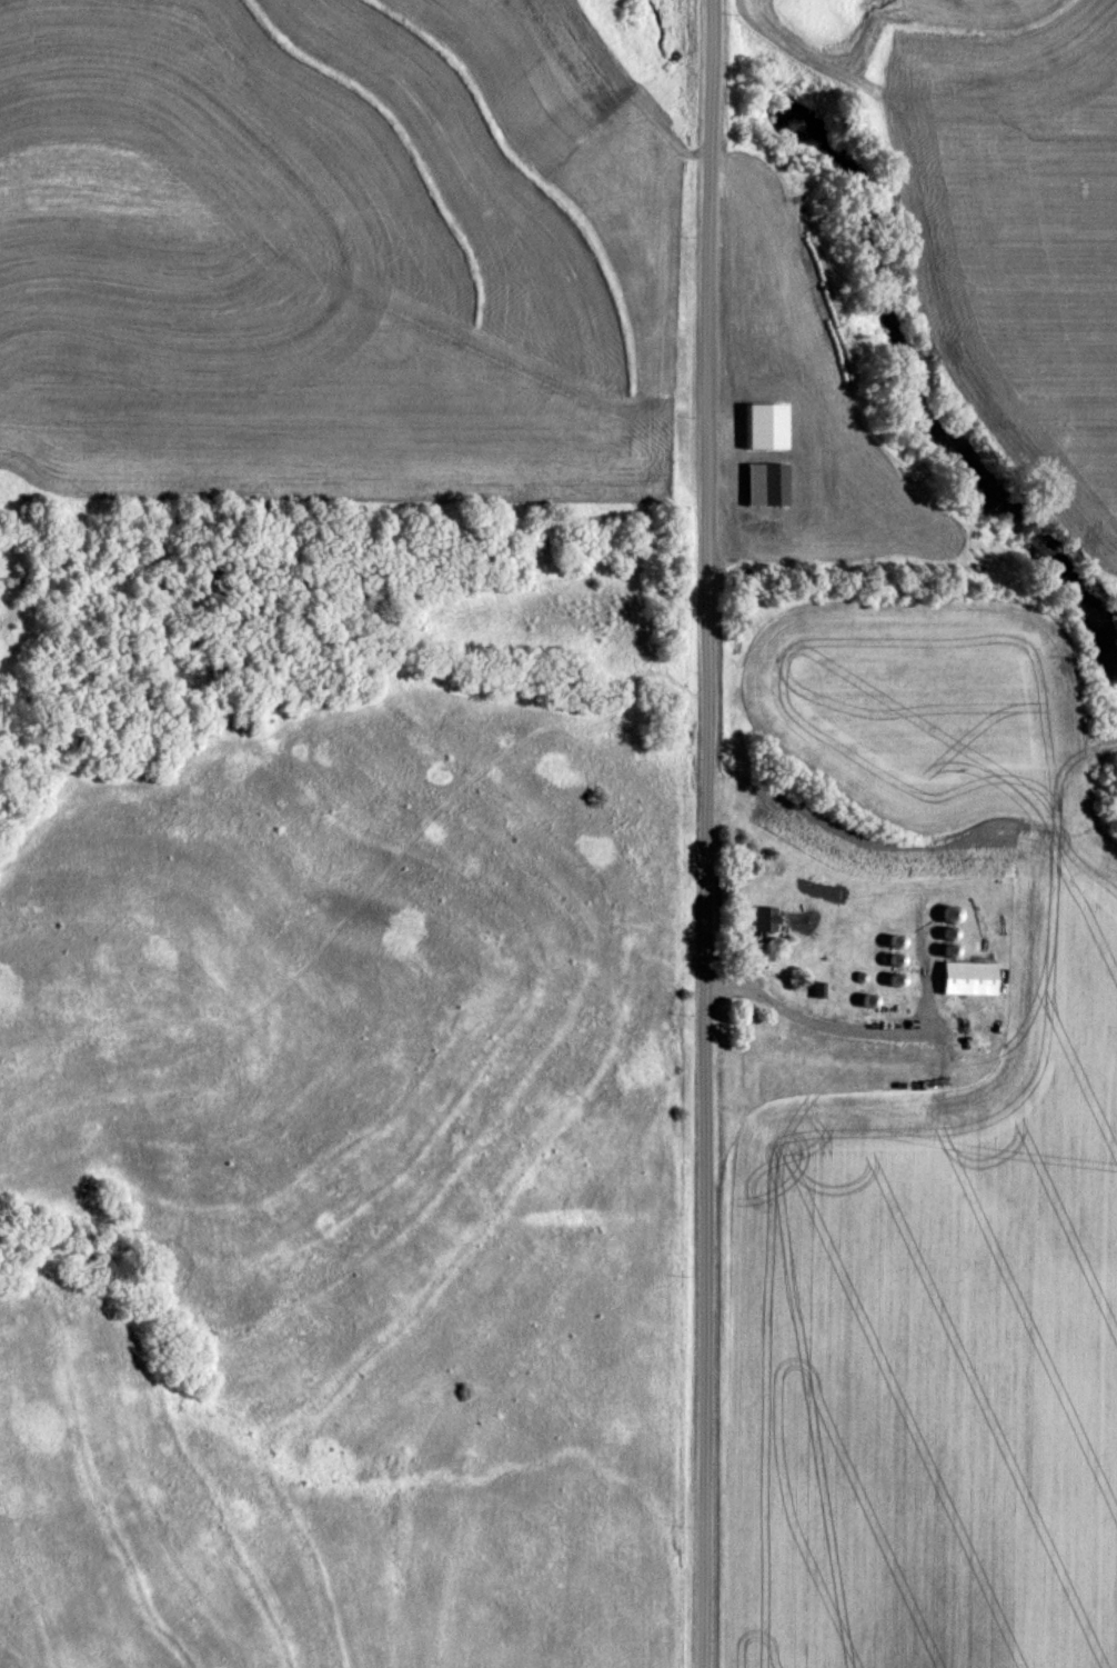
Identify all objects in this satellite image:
building: (764, 482)
road: (707, 833)
building: (761, 917)
building: (966, 977)

